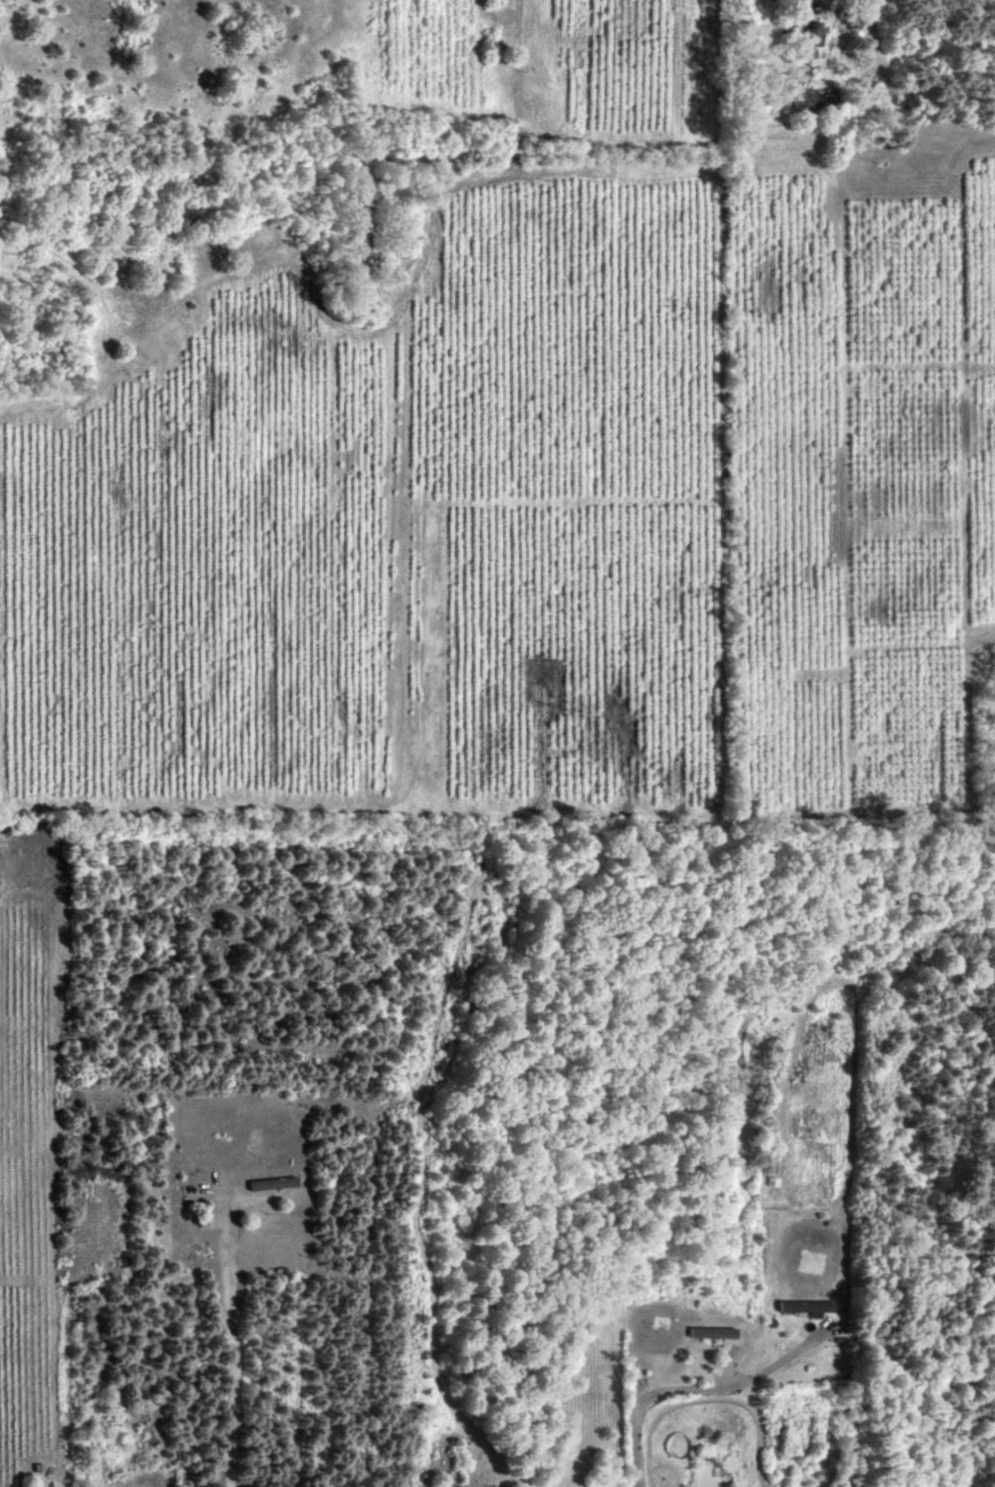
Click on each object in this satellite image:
building: (813, 34)
building: (807, 1305)
building: (712, 1331)
road: (231, 1354)
road: (686, 1381)

